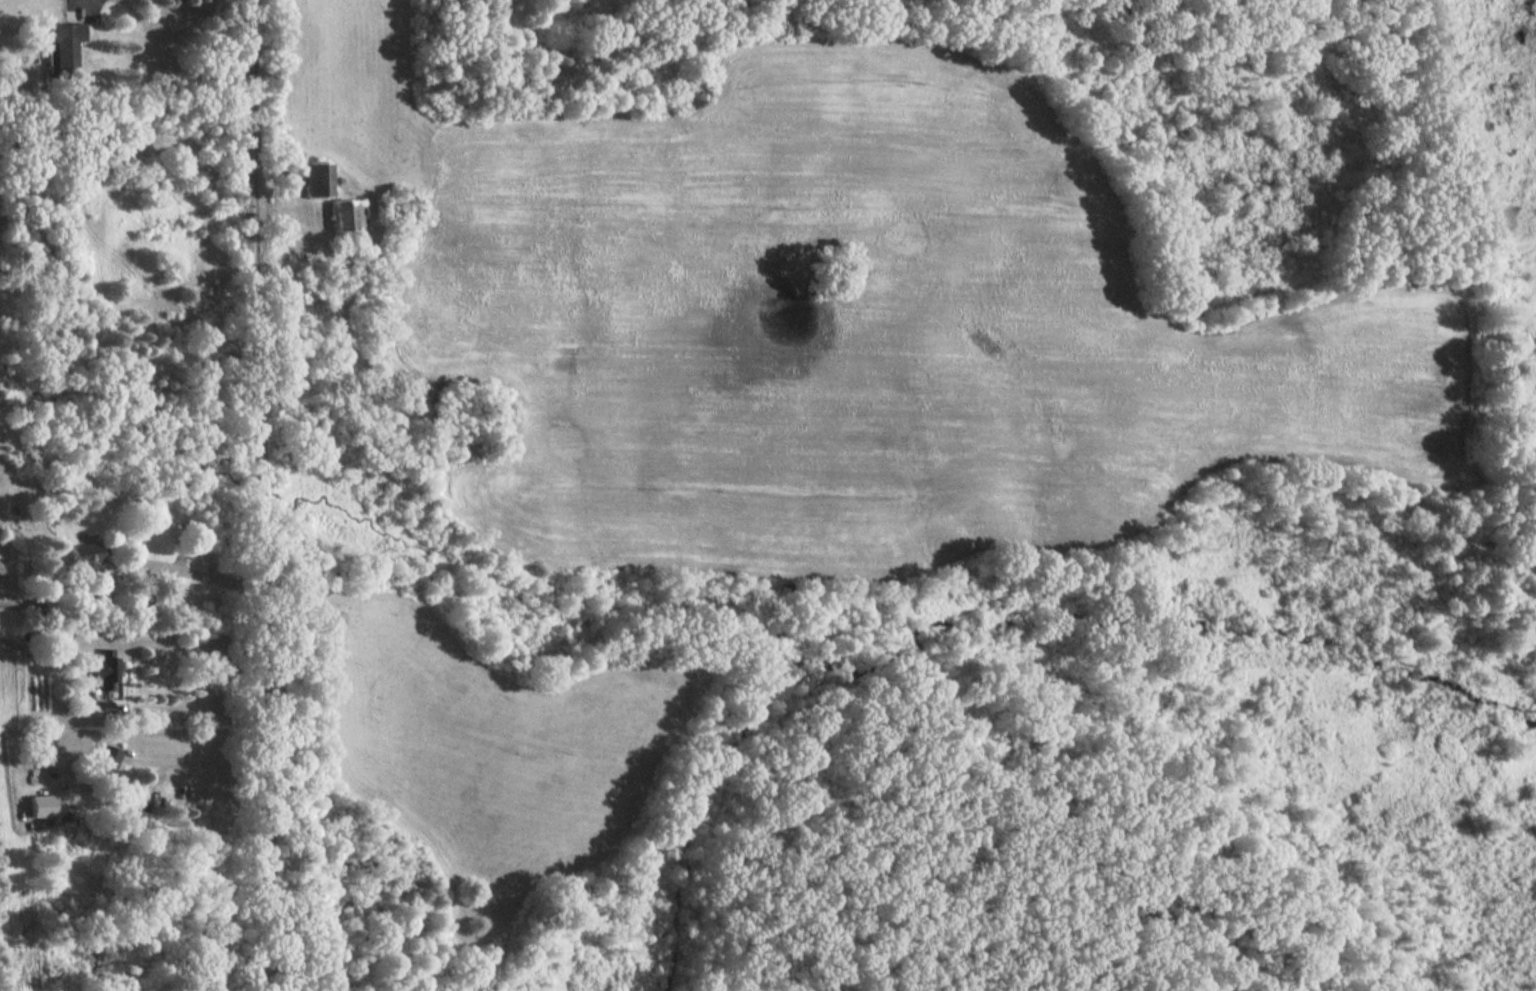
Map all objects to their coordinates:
building: (61, 41)
building: (314, 181)
building: (346, 217)
road: (256, 495)
building: (83, 562)
road: (200, 576)
building: (104, 671)
road: (200, 697)
building: (102, 764)
road: (199, 765)
building: (42, 806)

